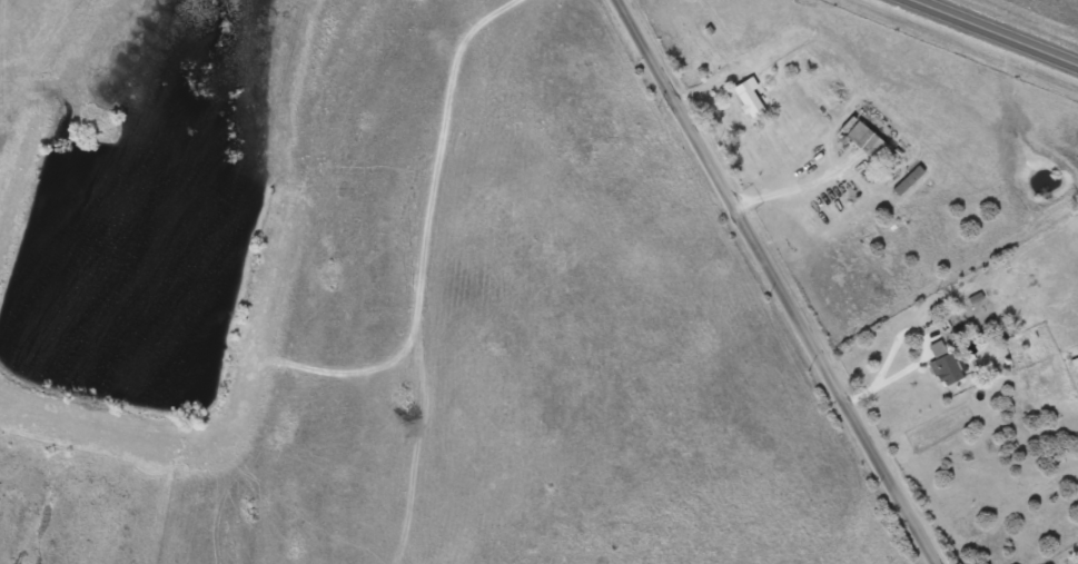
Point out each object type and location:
road: (988, 34)
building: (746, 98)
building: (863, 140)
road: (784, 187)
road: (777, 280)
building: (943, 364)
road: (883, 379)

